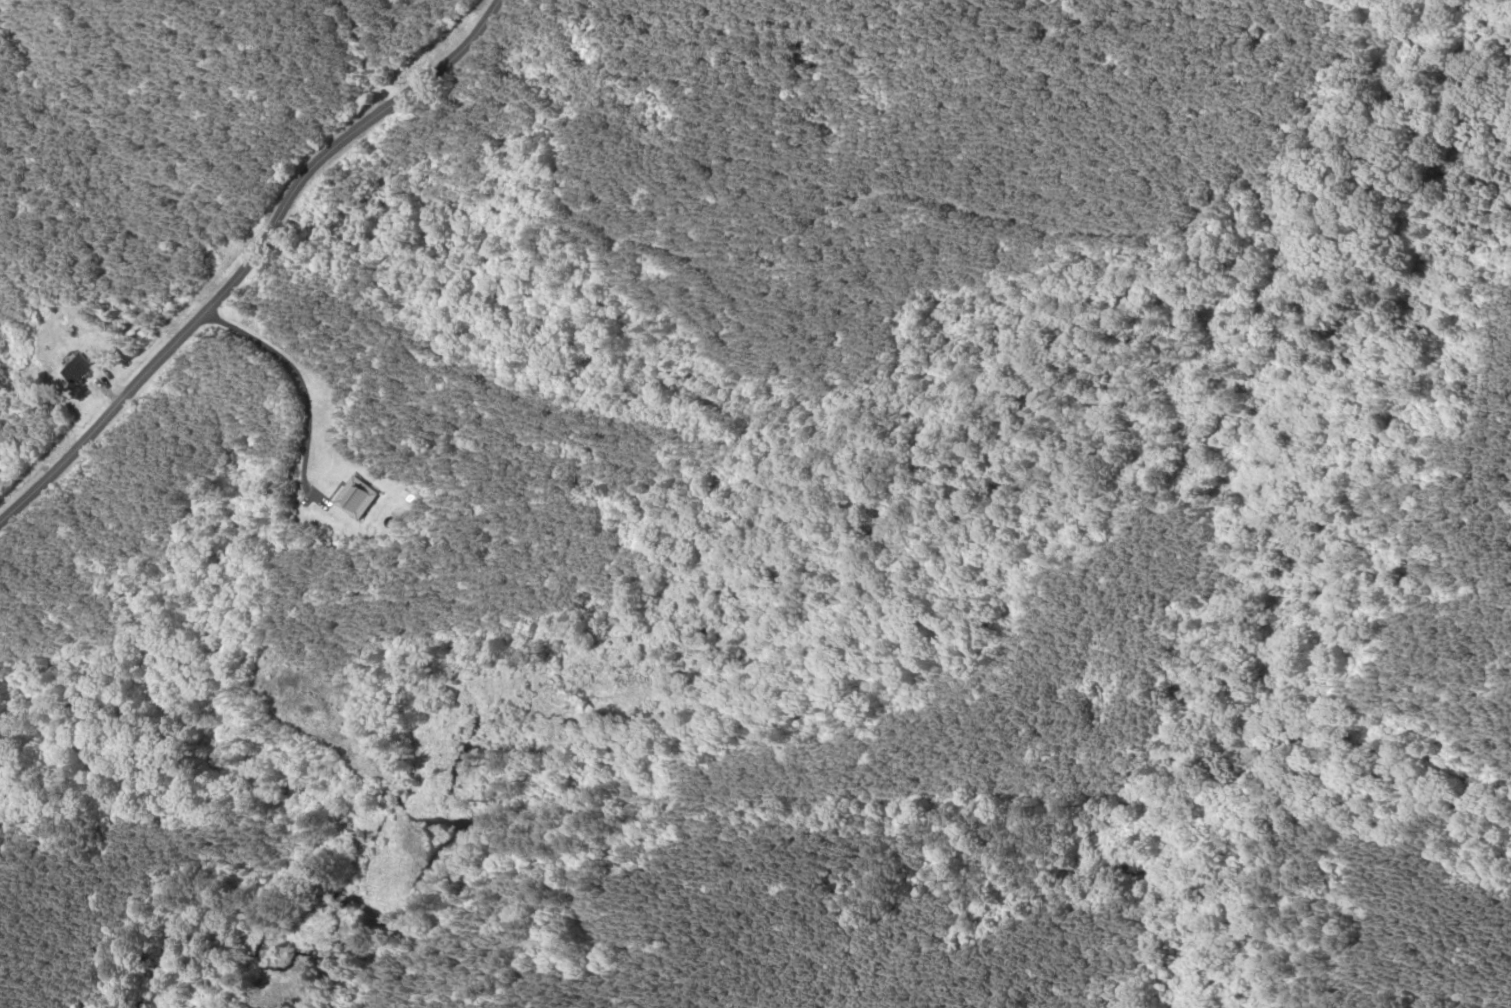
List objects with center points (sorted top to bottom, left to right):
road: (251, 261)
building: (87, 363)
building: (371, 496)

